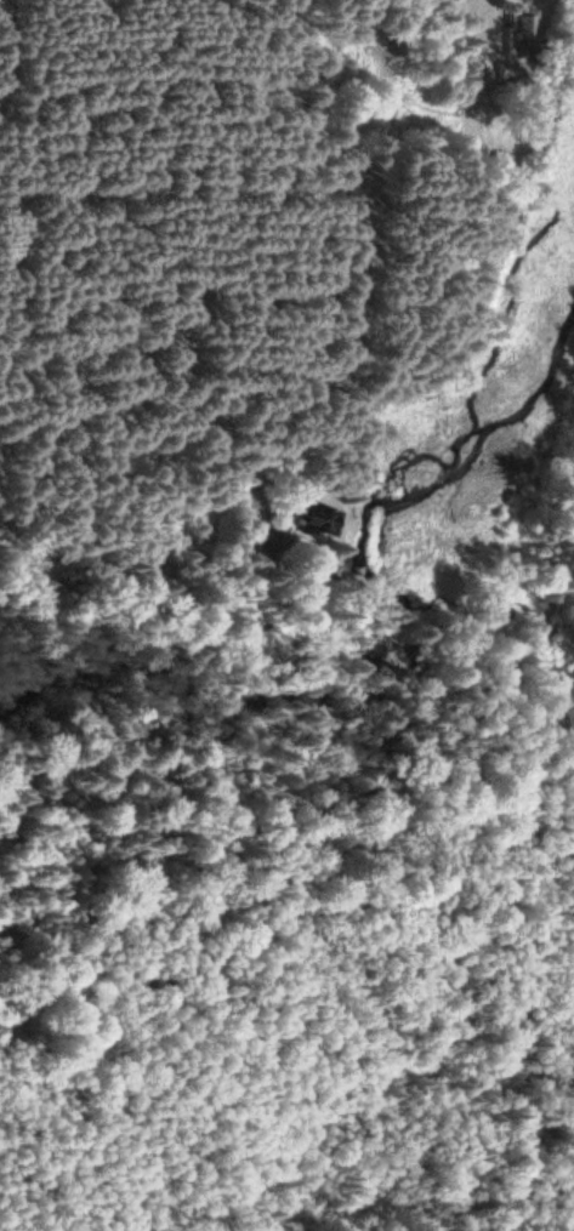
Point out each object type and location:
building: (518, 35)
building: (311, 522)
road: (516, 656)

